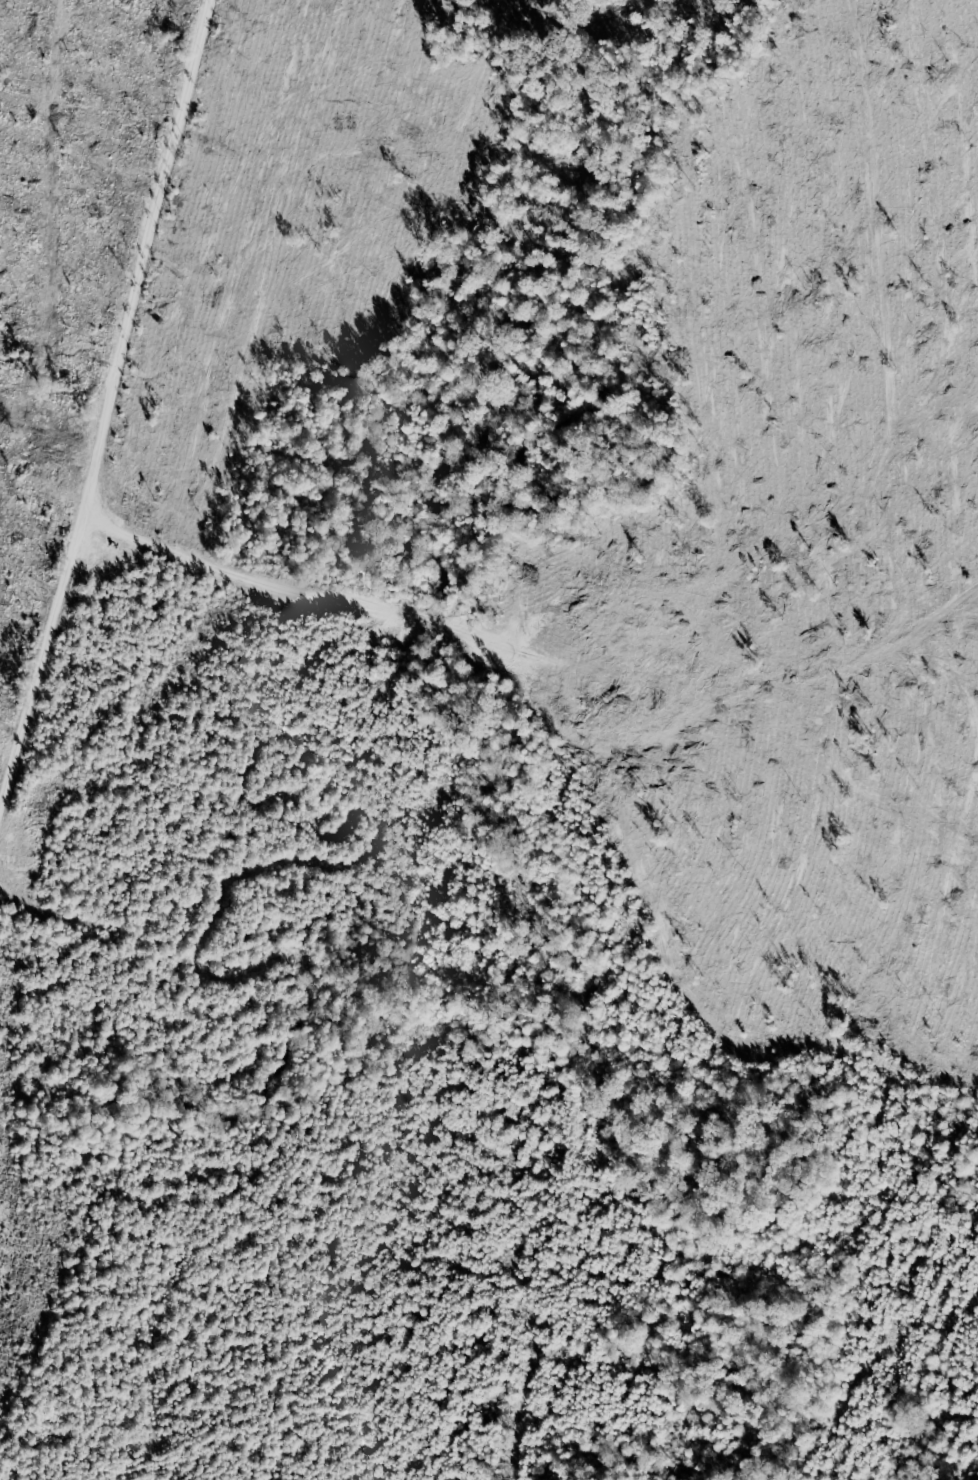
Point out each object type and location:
road: (107, 401)

